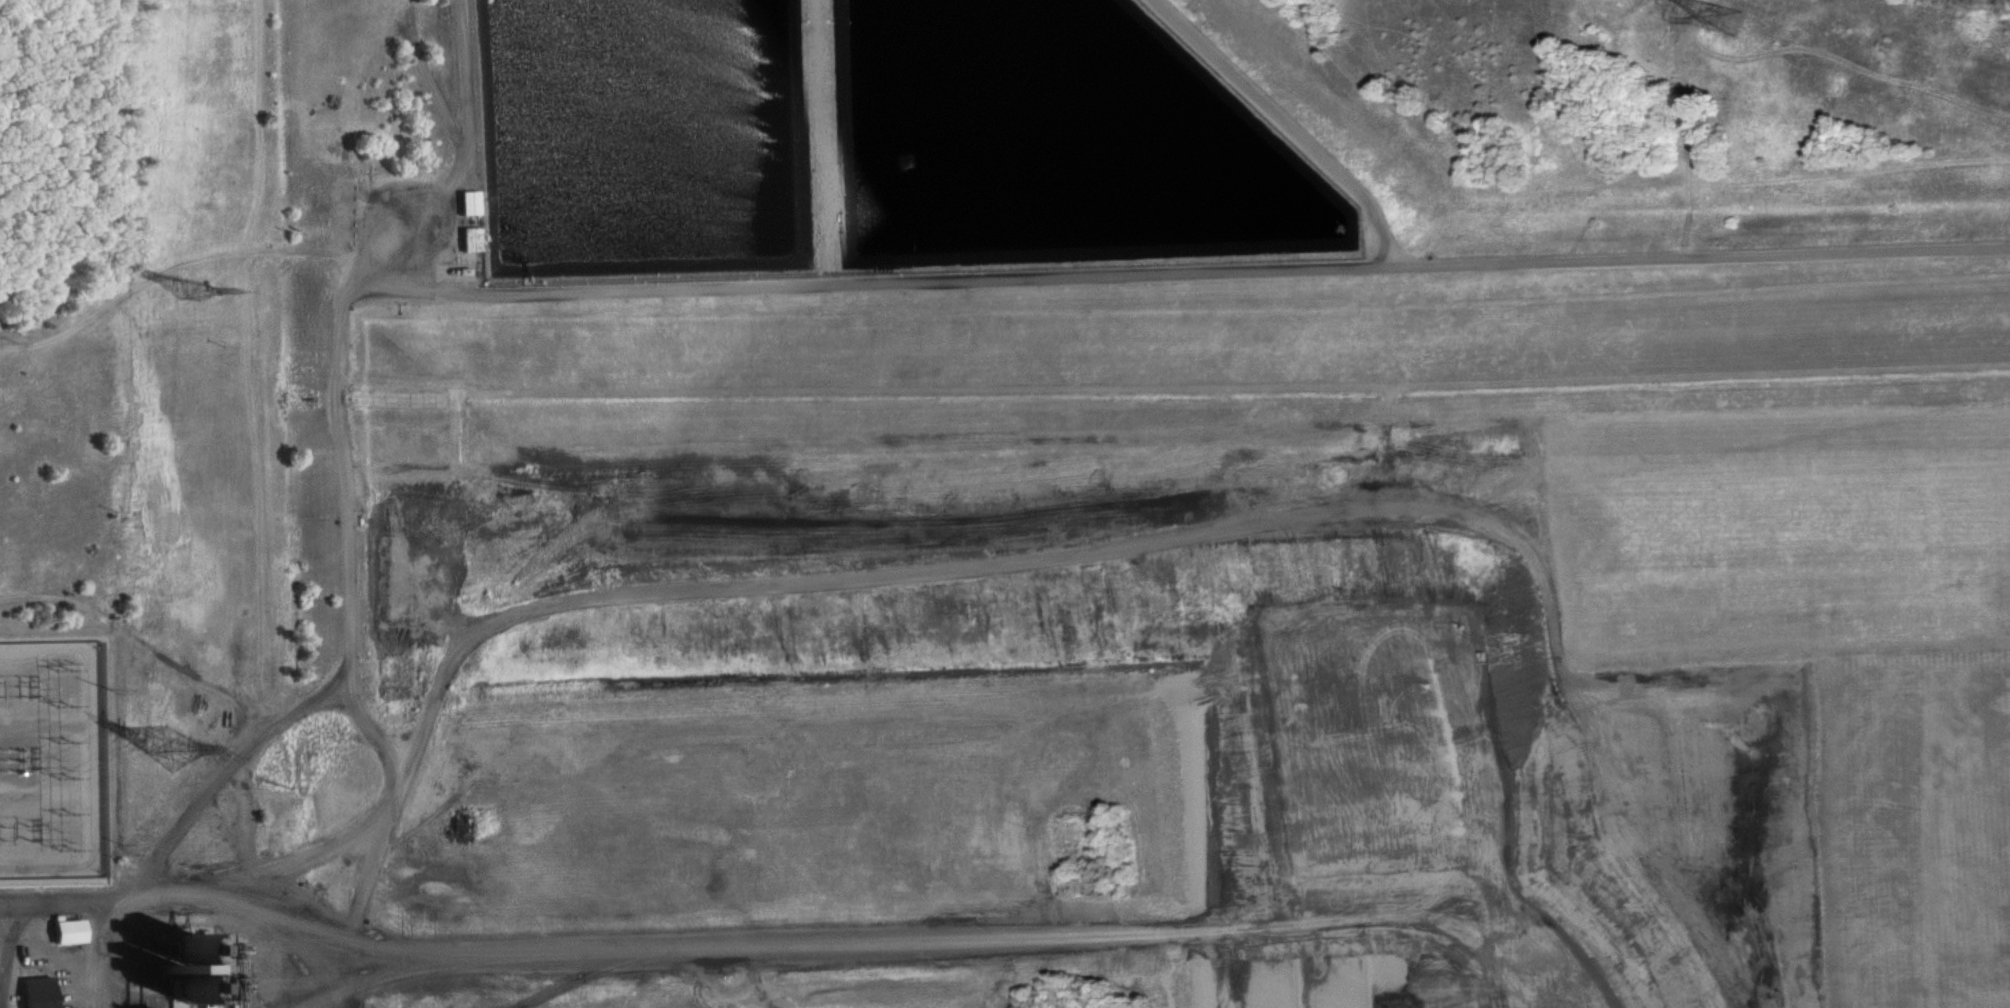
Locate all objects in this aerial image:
power tower: (1729, 21)
building: (462, 202)
building: (464, 239)
road: (177, 264)
power tower: (196, 290)
power tower: (175, 748)
power substation: (54, 756)
road: (183, 897)
building: (63, 931)
road: (925, 942)
road: (114, 955)
building: (32, 992)

